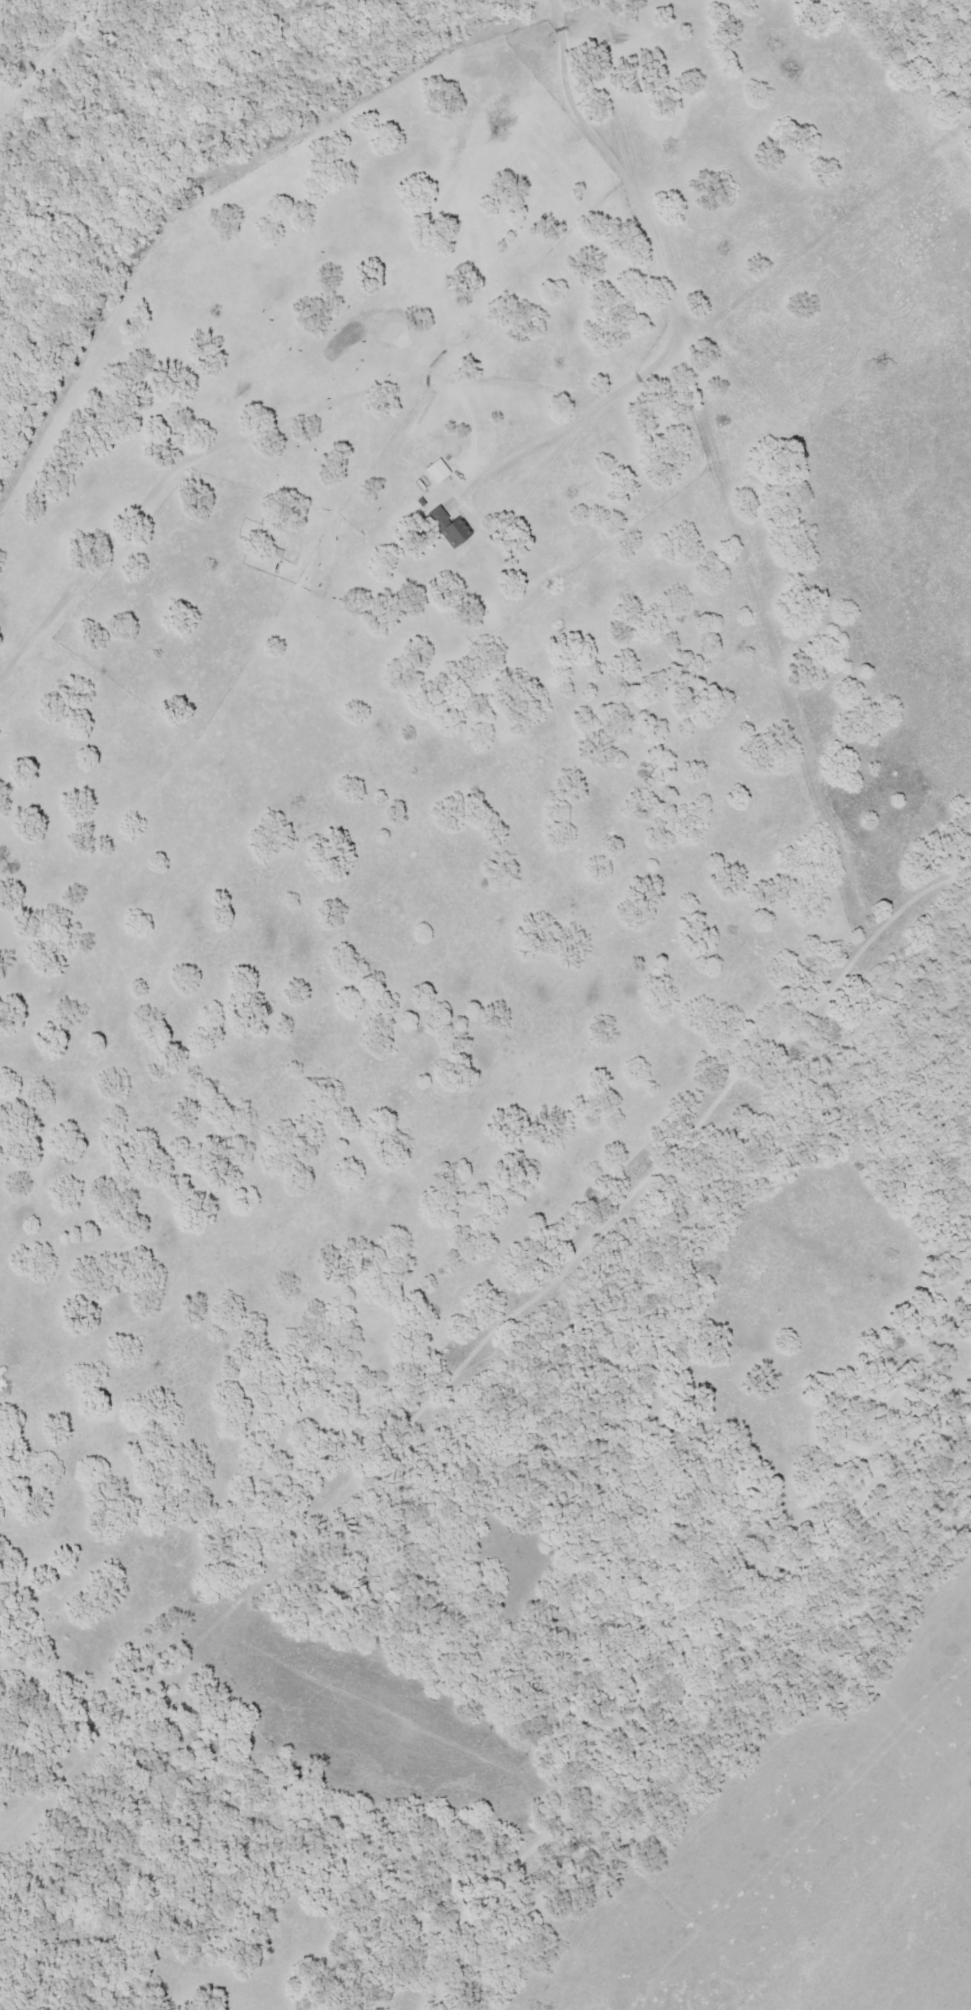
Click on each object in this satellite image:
road: (913, 58)
road: (471, 384)
building: (437, 472)
building: (452, 529)

